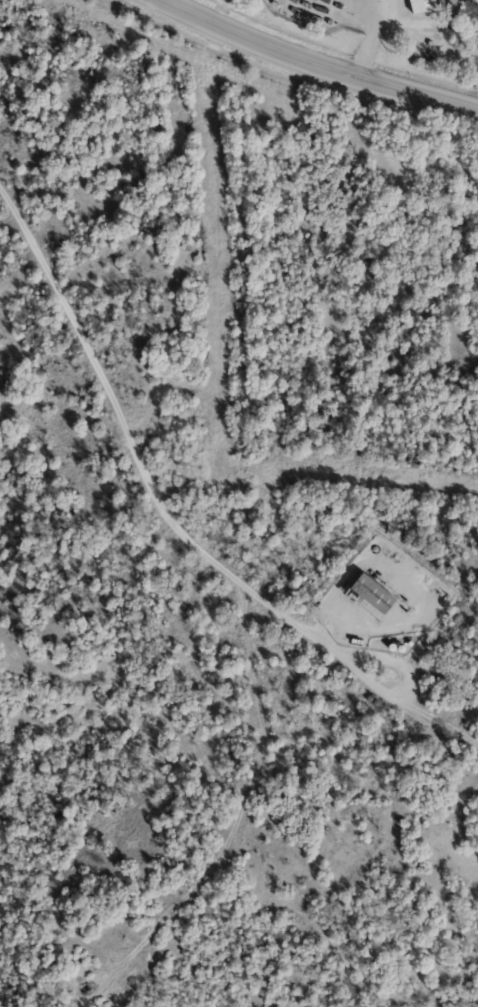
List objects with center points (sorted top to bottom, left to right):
building: (426, 6)
road: (316, 65)
road: (134, 454)
building: (379, 594)
road: (405, 688)

